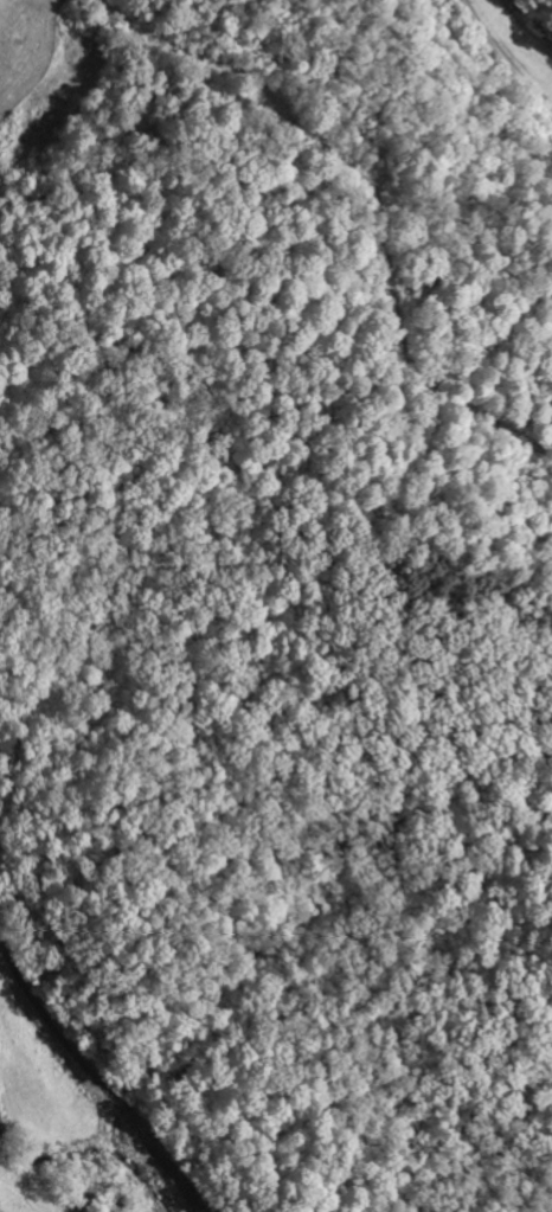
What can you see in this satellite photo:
road: (466, 2)
road: (97, 1077)

